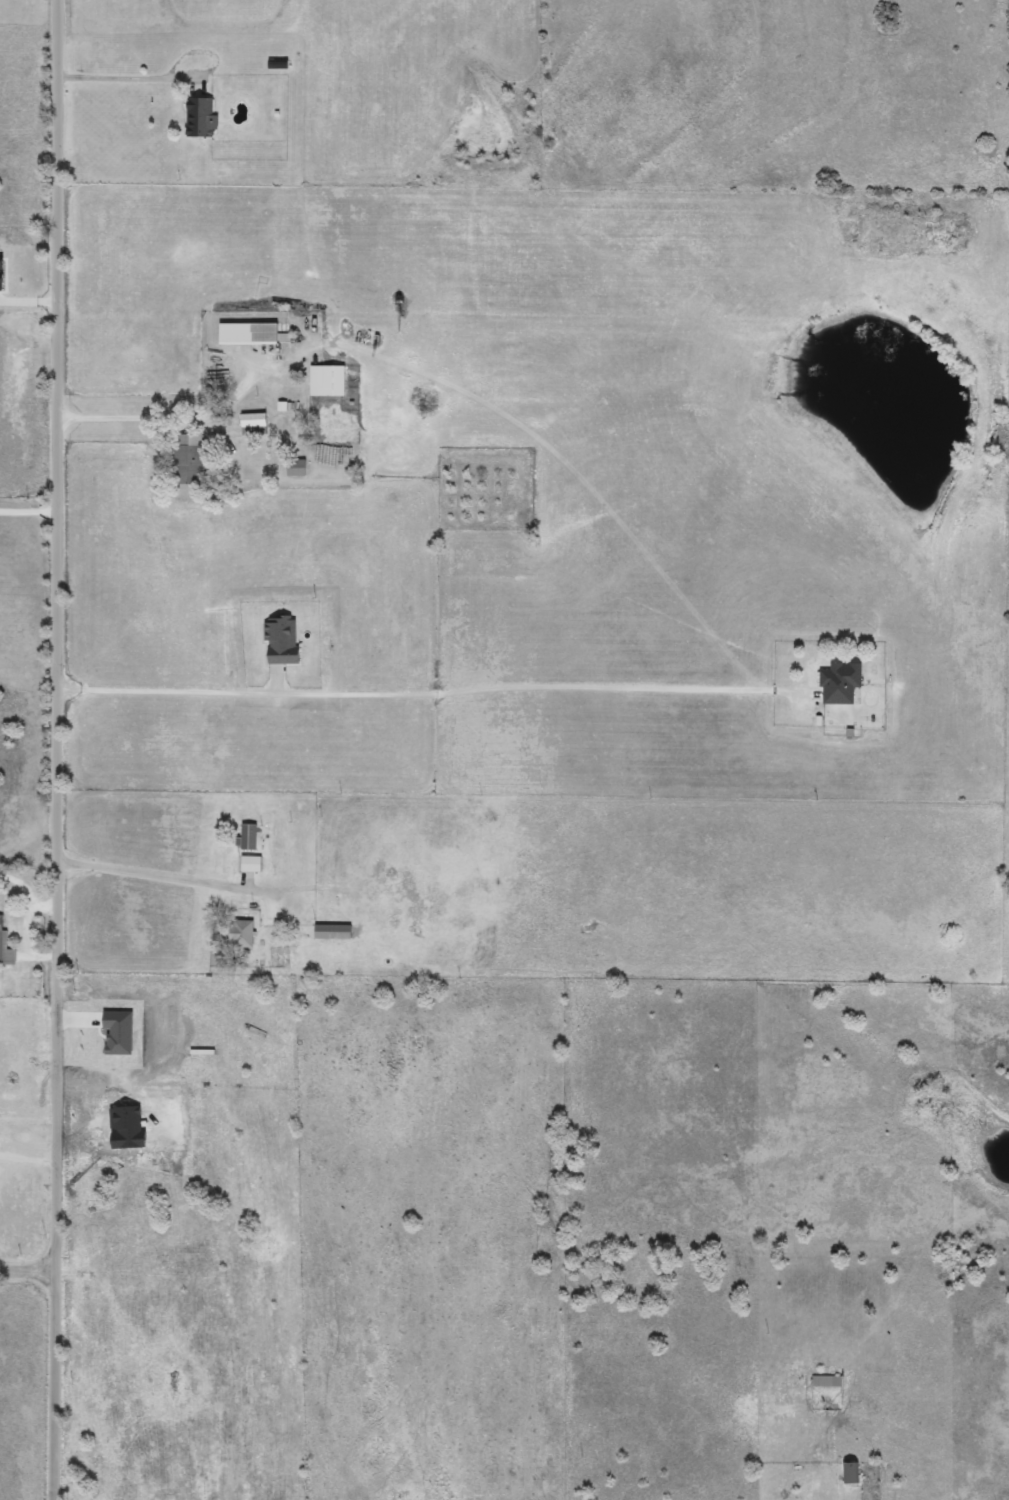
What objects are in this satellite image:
road: (124, 73)
building: (202, 117)
building: (249, 333)
building: (328, 381)
road: (164, 418)
building: (254, 421)
building: (190, 458)
building: (296, 467)
road: (28, 510)
building: (282, 640)
building: (840, 683)
road: (408, 693)
road: (51, 750)
building: (249, 836)
building: (251, 863)
road: (221, 884)
building: (333, 931)
building: (242, 933)
building: (6, 948)
road: (31, 1265)
building: (826, 1380)
building: (851, 1472)

